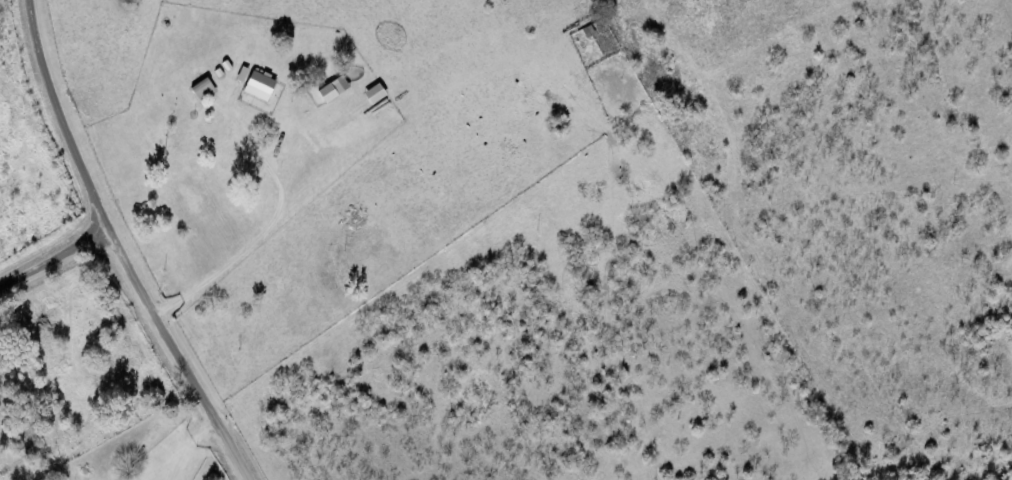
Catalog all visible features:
building: (261, 86)
building: (336, 89)
building: (377, 94)
road: (125, 248)
road: (57, 260)

